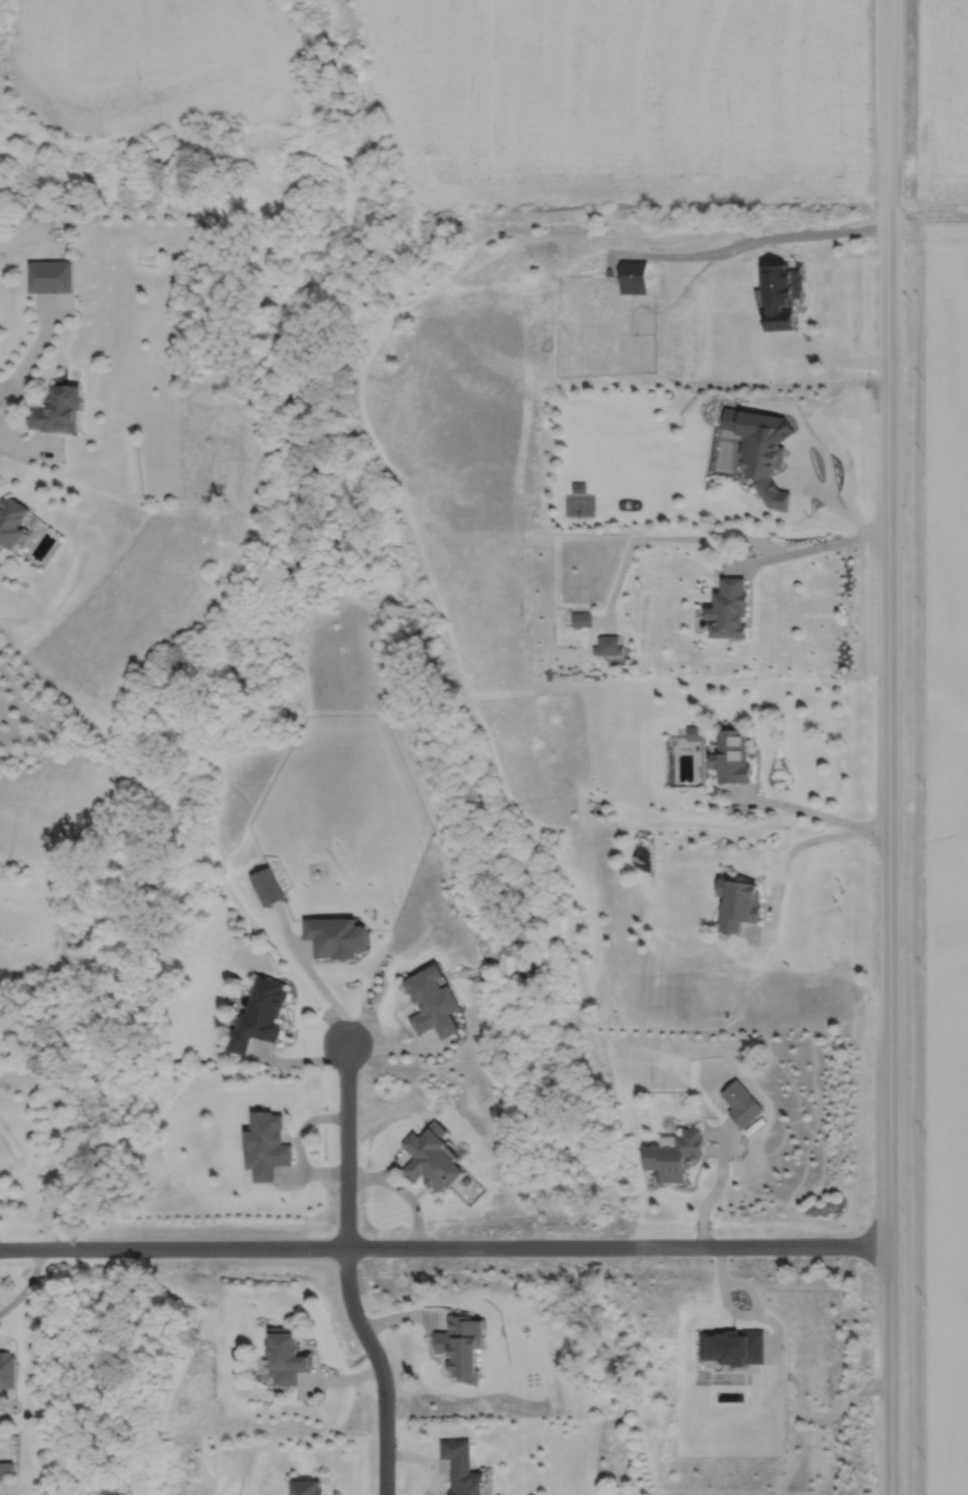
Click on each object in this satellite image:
crop: (152, 64)
crop: (622, 100)
crop: (943, 107)
road: (772, 240)
building: (51, 278)
road: (839, 359)
building: (59, 412)
building: (767, 472)
road: (839, 507)
building: (12, 524)
road: (815, 546)
building: (731, 609)
road: (894, 747)
building: (732, 754)
road: (819, 813)
road: (797, 843)
crop: (944, 846)
building: (740, 902)
road: (317, 981)
building: (435, 1002)
building: (268, 1009)
building: (742, 1105)
building: (675, 1155)
building: (433, 1162)
road: (404, 1191)
road: (712, 1193)
road: (448, 1251)
road: (346, 1273)
road: (25, 1284)
building: (288, 1358)
building: (9, 1369)
road: (425, 1459)
building: (463, 1468)
building: (309, 1488)

